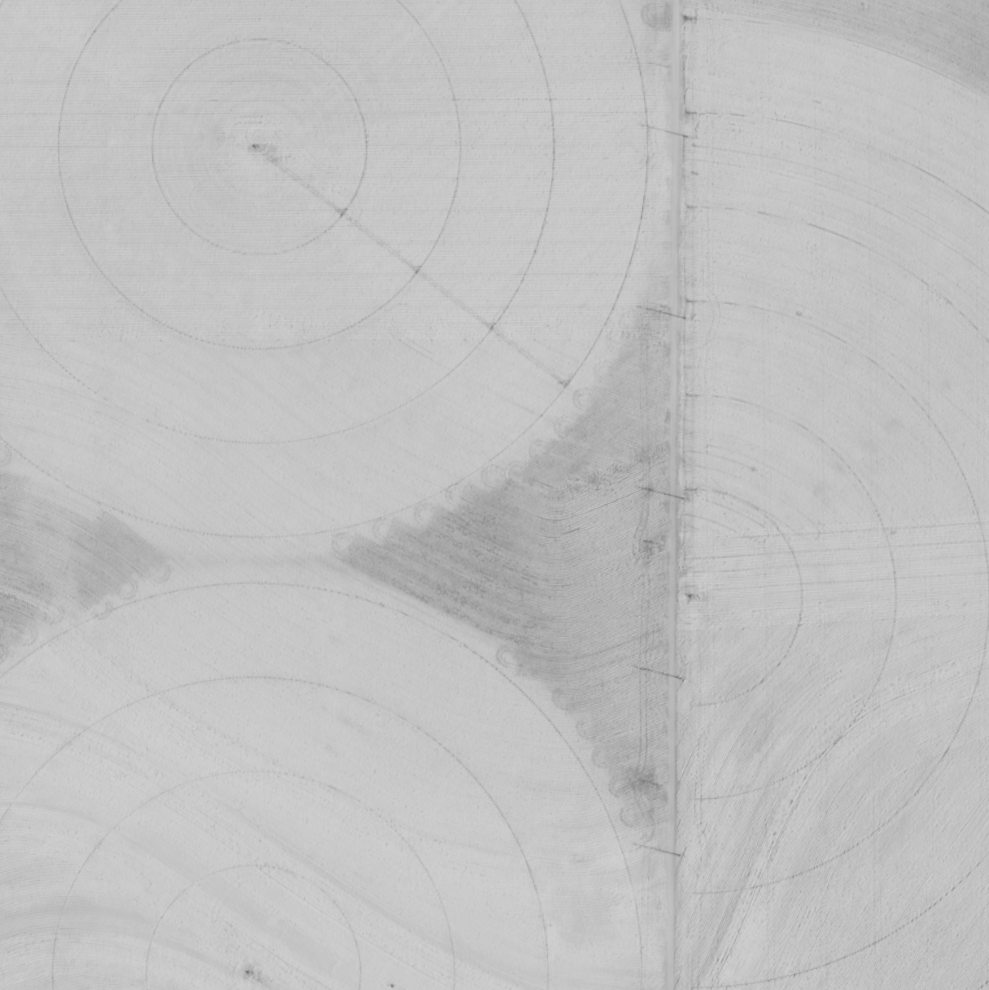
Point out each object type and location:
road: (688, 495)

